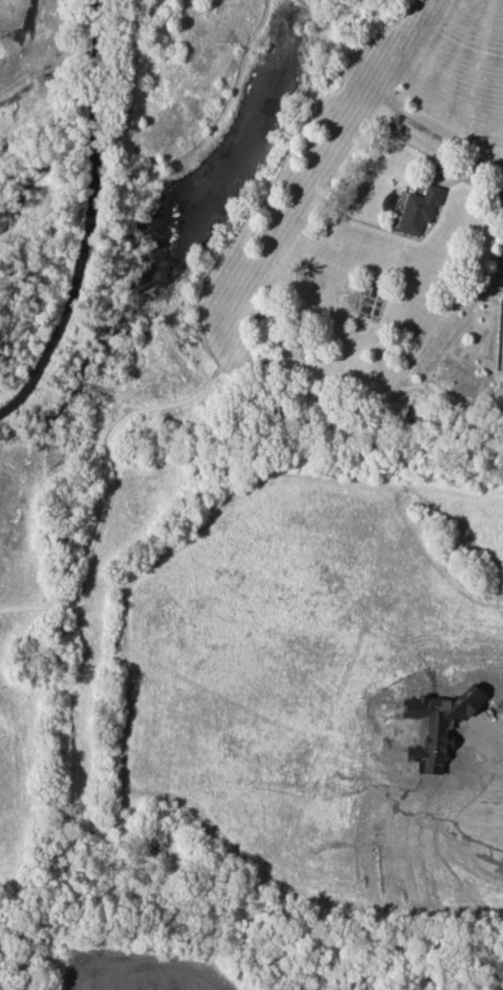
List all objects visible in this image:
building: (418, 210)
road: (494, 737)
park: (236, 954)

